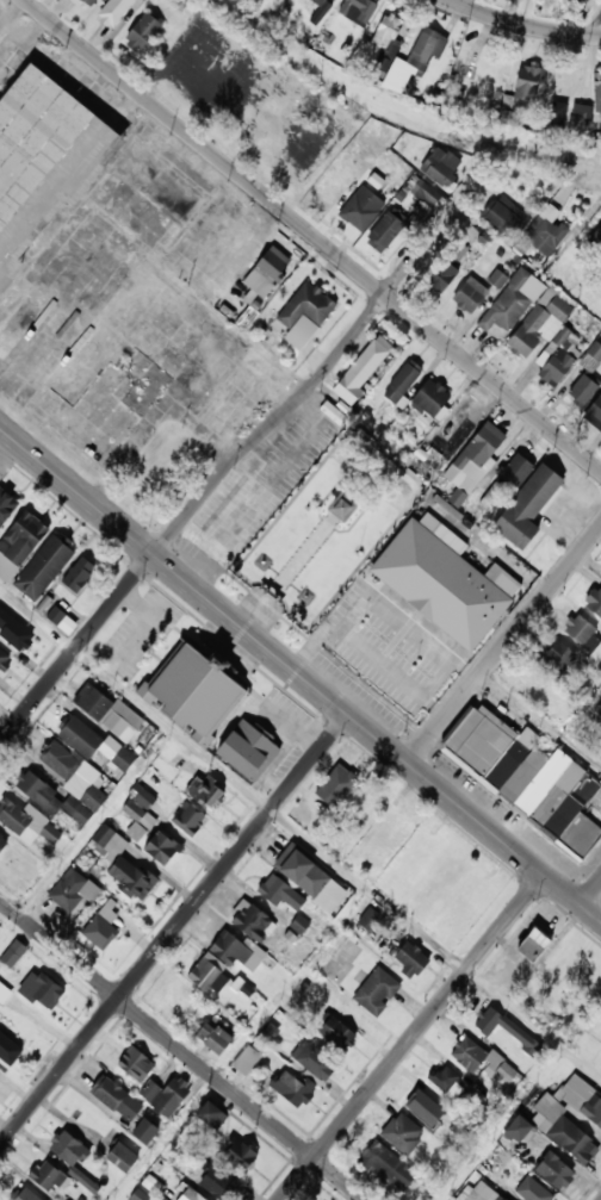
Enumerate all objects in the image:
building: (143, 0)
building: (280, 0)
building: (88, 2)
building: (318, 2)
building: (578, 2)
building: (357, 11)
building: (112, 12)
road: (521, 24)
road: (593, 25)
building: (385, 31)
building: (141, 33)
building: (422, 49)
building: (526, 86)
building: (596, 93)
building: (581, 112)
building: (558, 113)
building: (43, 144)
building: (439, 166)
building: (422, 195)
building: (360, 210)
building: (504, 217)
building: (384, 232)
building: (543, 232)
road: (312, 235)
building: (595, 238)
building: (457, 250)
building: (261, 275)
building: (440, 276)
building: (497, 279)
building: (469, 296)
building: (510, 303)
building: (303, 315)
building: (539, 323)
building: (360, 372)
building: (585, 379)
building: (401, 383)
building: (429, 397)
building: (595, 412)
road: (234, 458)
building: (475, 461)
building: (514, 471)
road: (259, 486)
building: (6, 508)
building: (340, 508)
building: (526, 508)
building: (21, 539)
flagpole: (360, 552)
road: (489, 552)
building: (43, 570)
building: (78, 573)
building: (444, 583)
building: (268, 593)
road: (380, 602)
building: (593, 603)
road: (140, 604)
building: (61, 620)
building: (12, 630)
road: (135, 639)
building: (583, 639)
road: (504, 646)
road: (272, 653)
building: (2, 658)
building: (557, 658)
road: (392, 676)
building: (199, 691)
building: (599, 708)
building: (109, 714)
road: (292, 728)
building: (79, 736)
building: (252, 751)
building: (58, 760)
building: (526, 778)
building: (339, 781)
building: (203, 791)
building: (37, 792)
building: (143, 795)
building: (12, 817)
building: (137, 820)
building: (187, 820)
road: (299, 834)
building: (2, 844)
building: (160, 848)
building: (122, 866)
building: (302, 875)
building: (74, 889)
road: (563, 891)
building: (278, 894)
road: (591, 895)
road: (591, 914)
building: (372, 920)
building: (100, 921)
building: (250, 924)
road: (174, 929)
building: (532, 944)
building: (235, 951)
building: (13, 953)
building: (408, 959)
building: (203, 975)
building: (39, 990)
building: (374, 993)
building: (4, 994)
building: (500, 1027)
building: (335, 1034)
building: (213, 1037)
road: (413, 1038)
building: (5, 1050)
road: (181, 1051)
building: (478, 1059)
building: (244, 1061)
building: (312, 1061)
building: (134, 1065)
building: (445, 1080)
building: (291, 1089)
building: (168, 1098)
building: (116, 1099)
building: (581, 1101)
building: (420, 1106)
building: (210, 1117)
building: (516, 1130)
building: (560, 1131)
building: (143, 1132)
building: (402, 1134)
building: (67, 1150)
building: (237, 1156)
building: (119, 1157)
building: (386, 1167)
building: (553, 1171)
building: (47, 1176)
building: (82, 1179)
building: (217, 1182)
building: (532, 1190)
building: (478, 1193)
building: (23, 1194)
building: (422, 1194)
building: (138, 1195)
building: (188, 1195)

